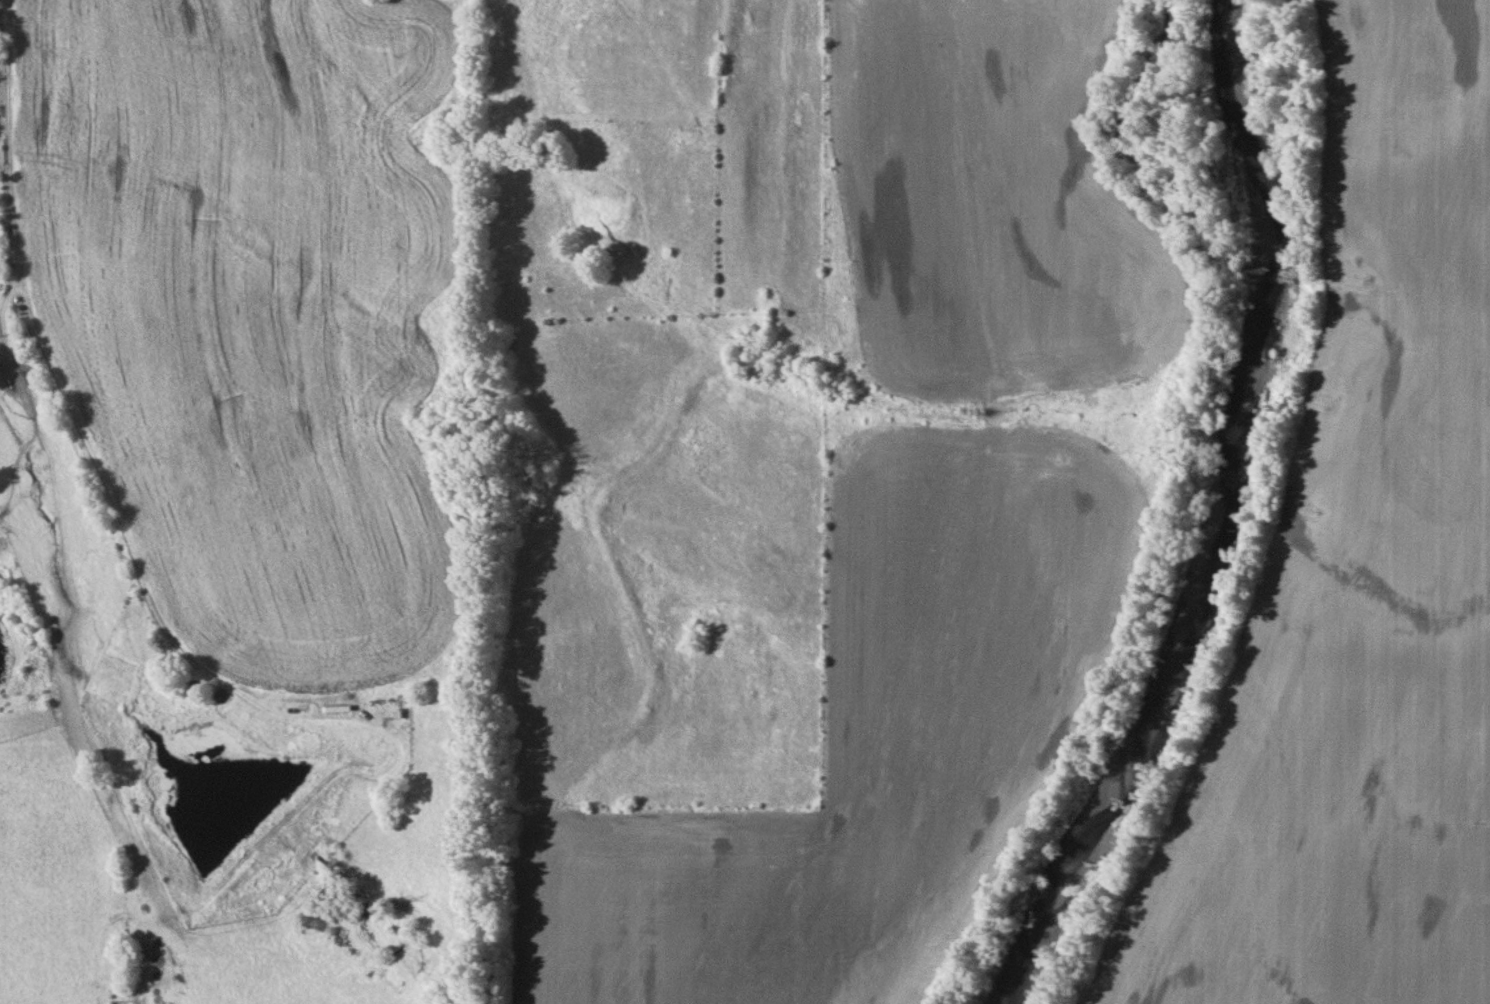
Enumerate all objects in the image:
road: (91, 440)

